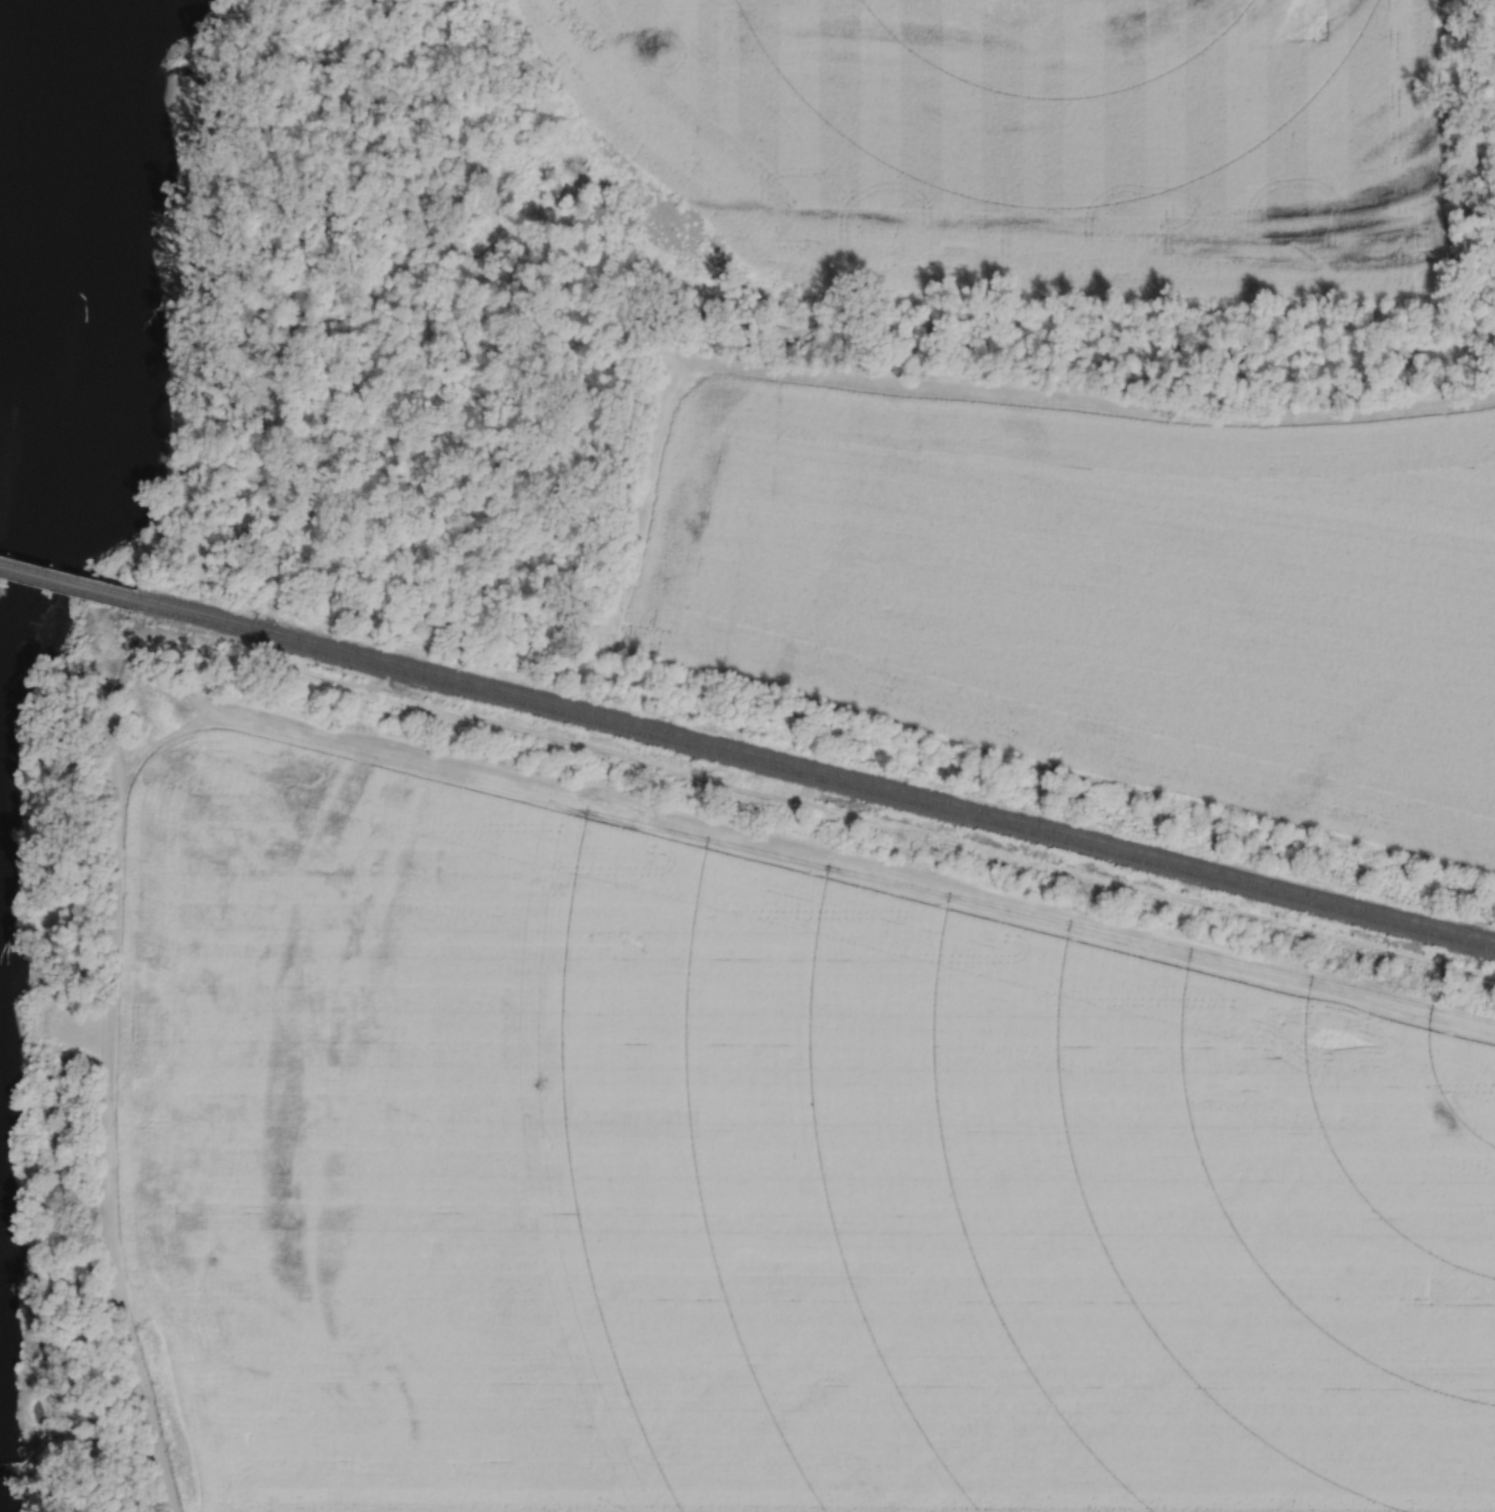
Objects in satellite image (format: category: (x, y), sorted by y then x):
river: (65, 280)
railway: (68, 576)
railway: (67, 585)
railway: (815, 767)
railway: (814, 776)

